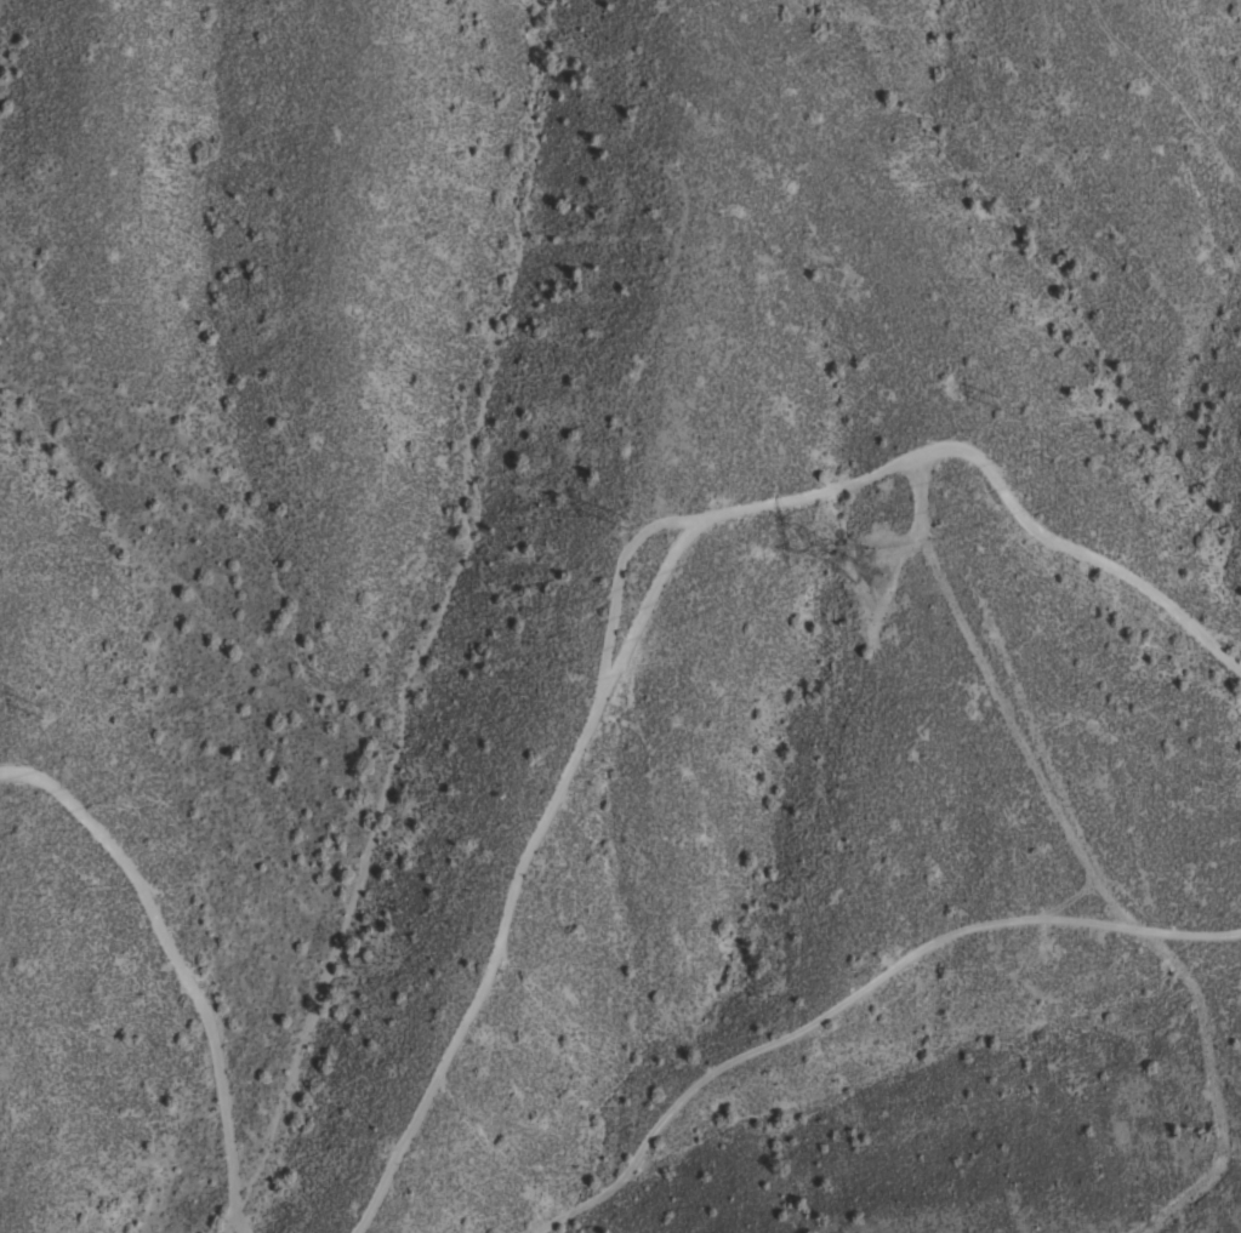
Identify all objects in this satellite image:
power tower: (682, 493)
power tower: (881, 560)
road: (654, 586)
power tower: (52, 710)
road: (1083, 866)
road: (186, 961)
road: (858, 992)

